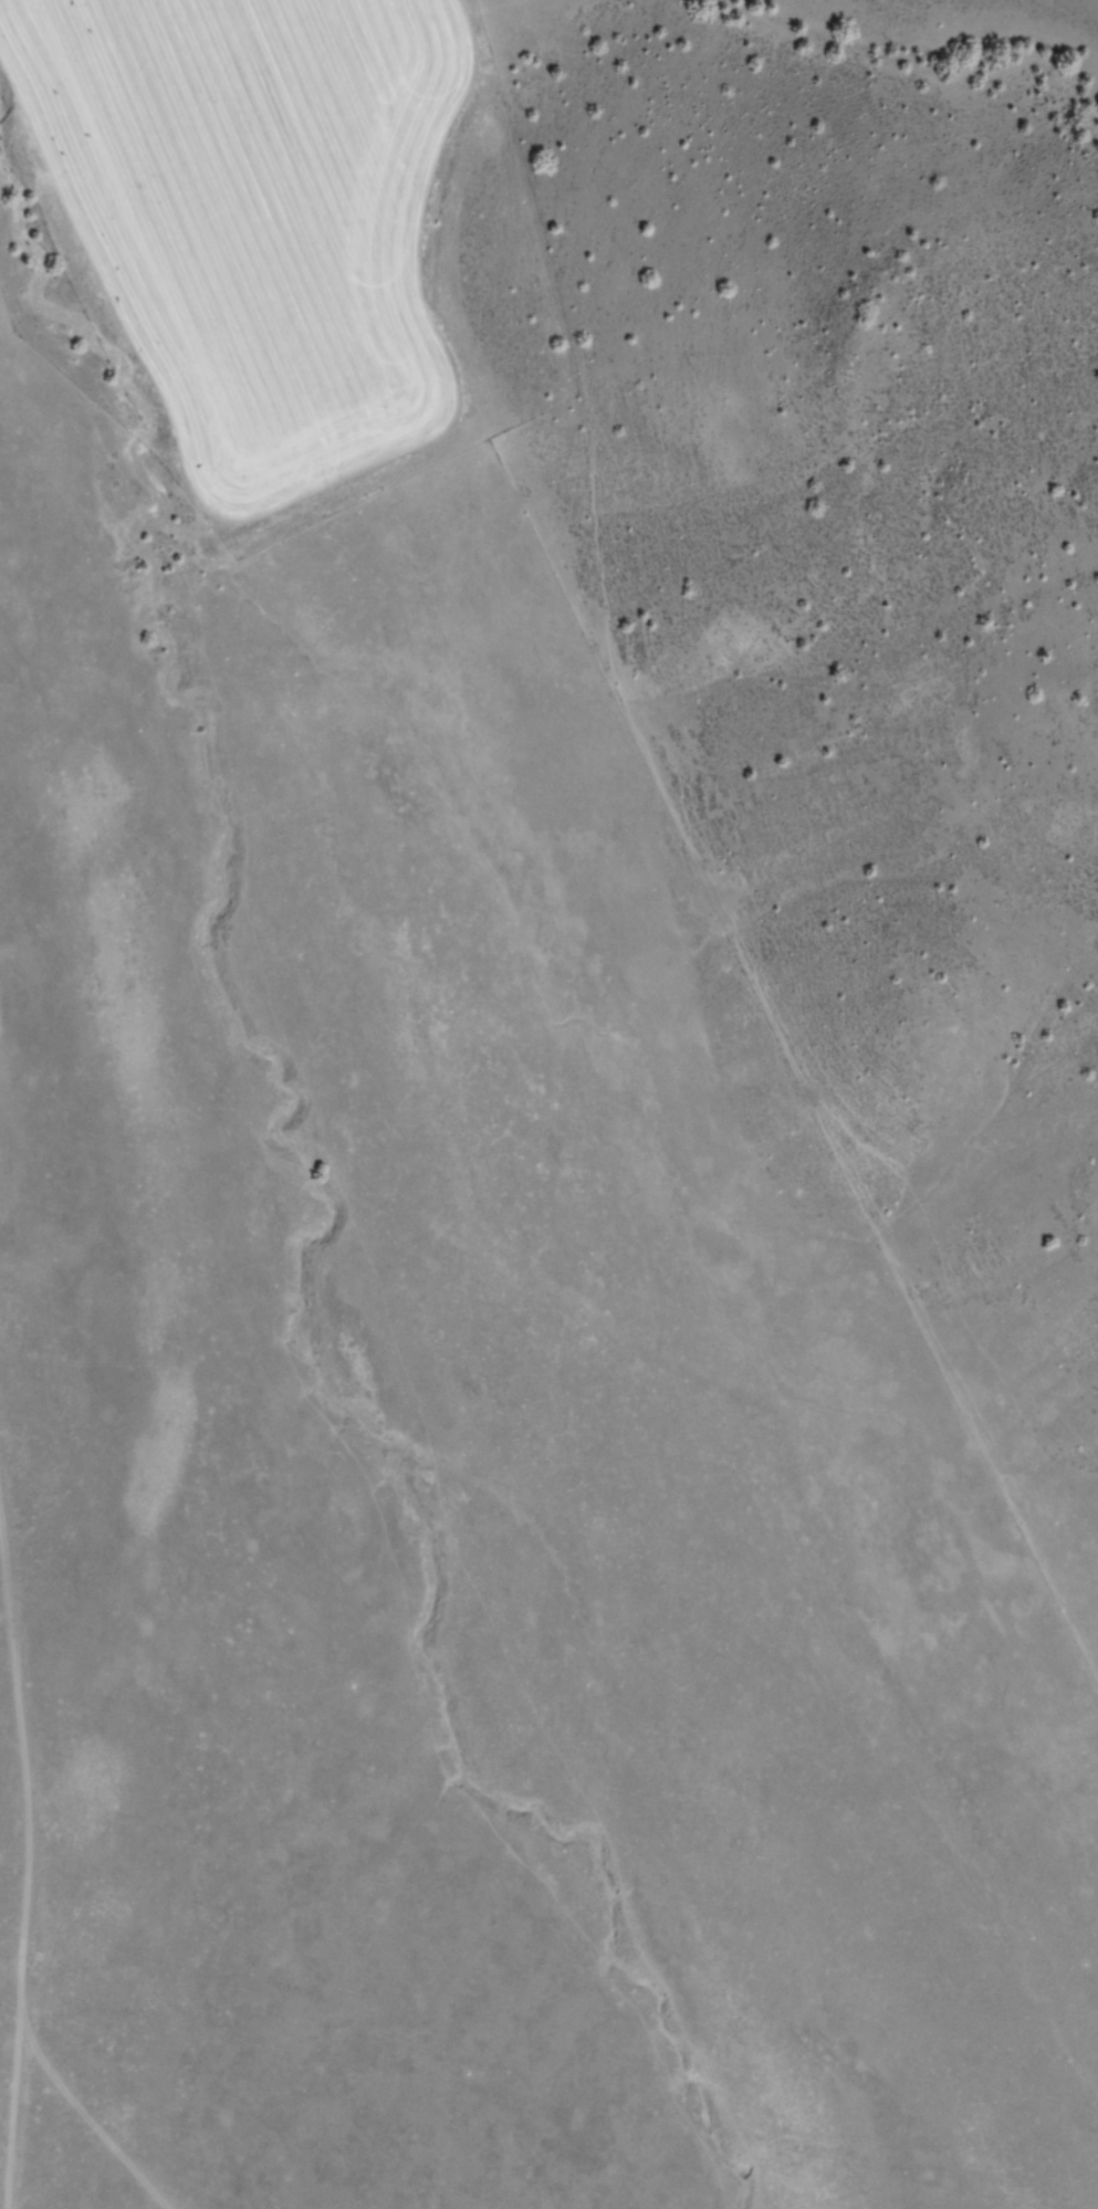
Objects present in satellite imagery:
crop: (254, 230)

